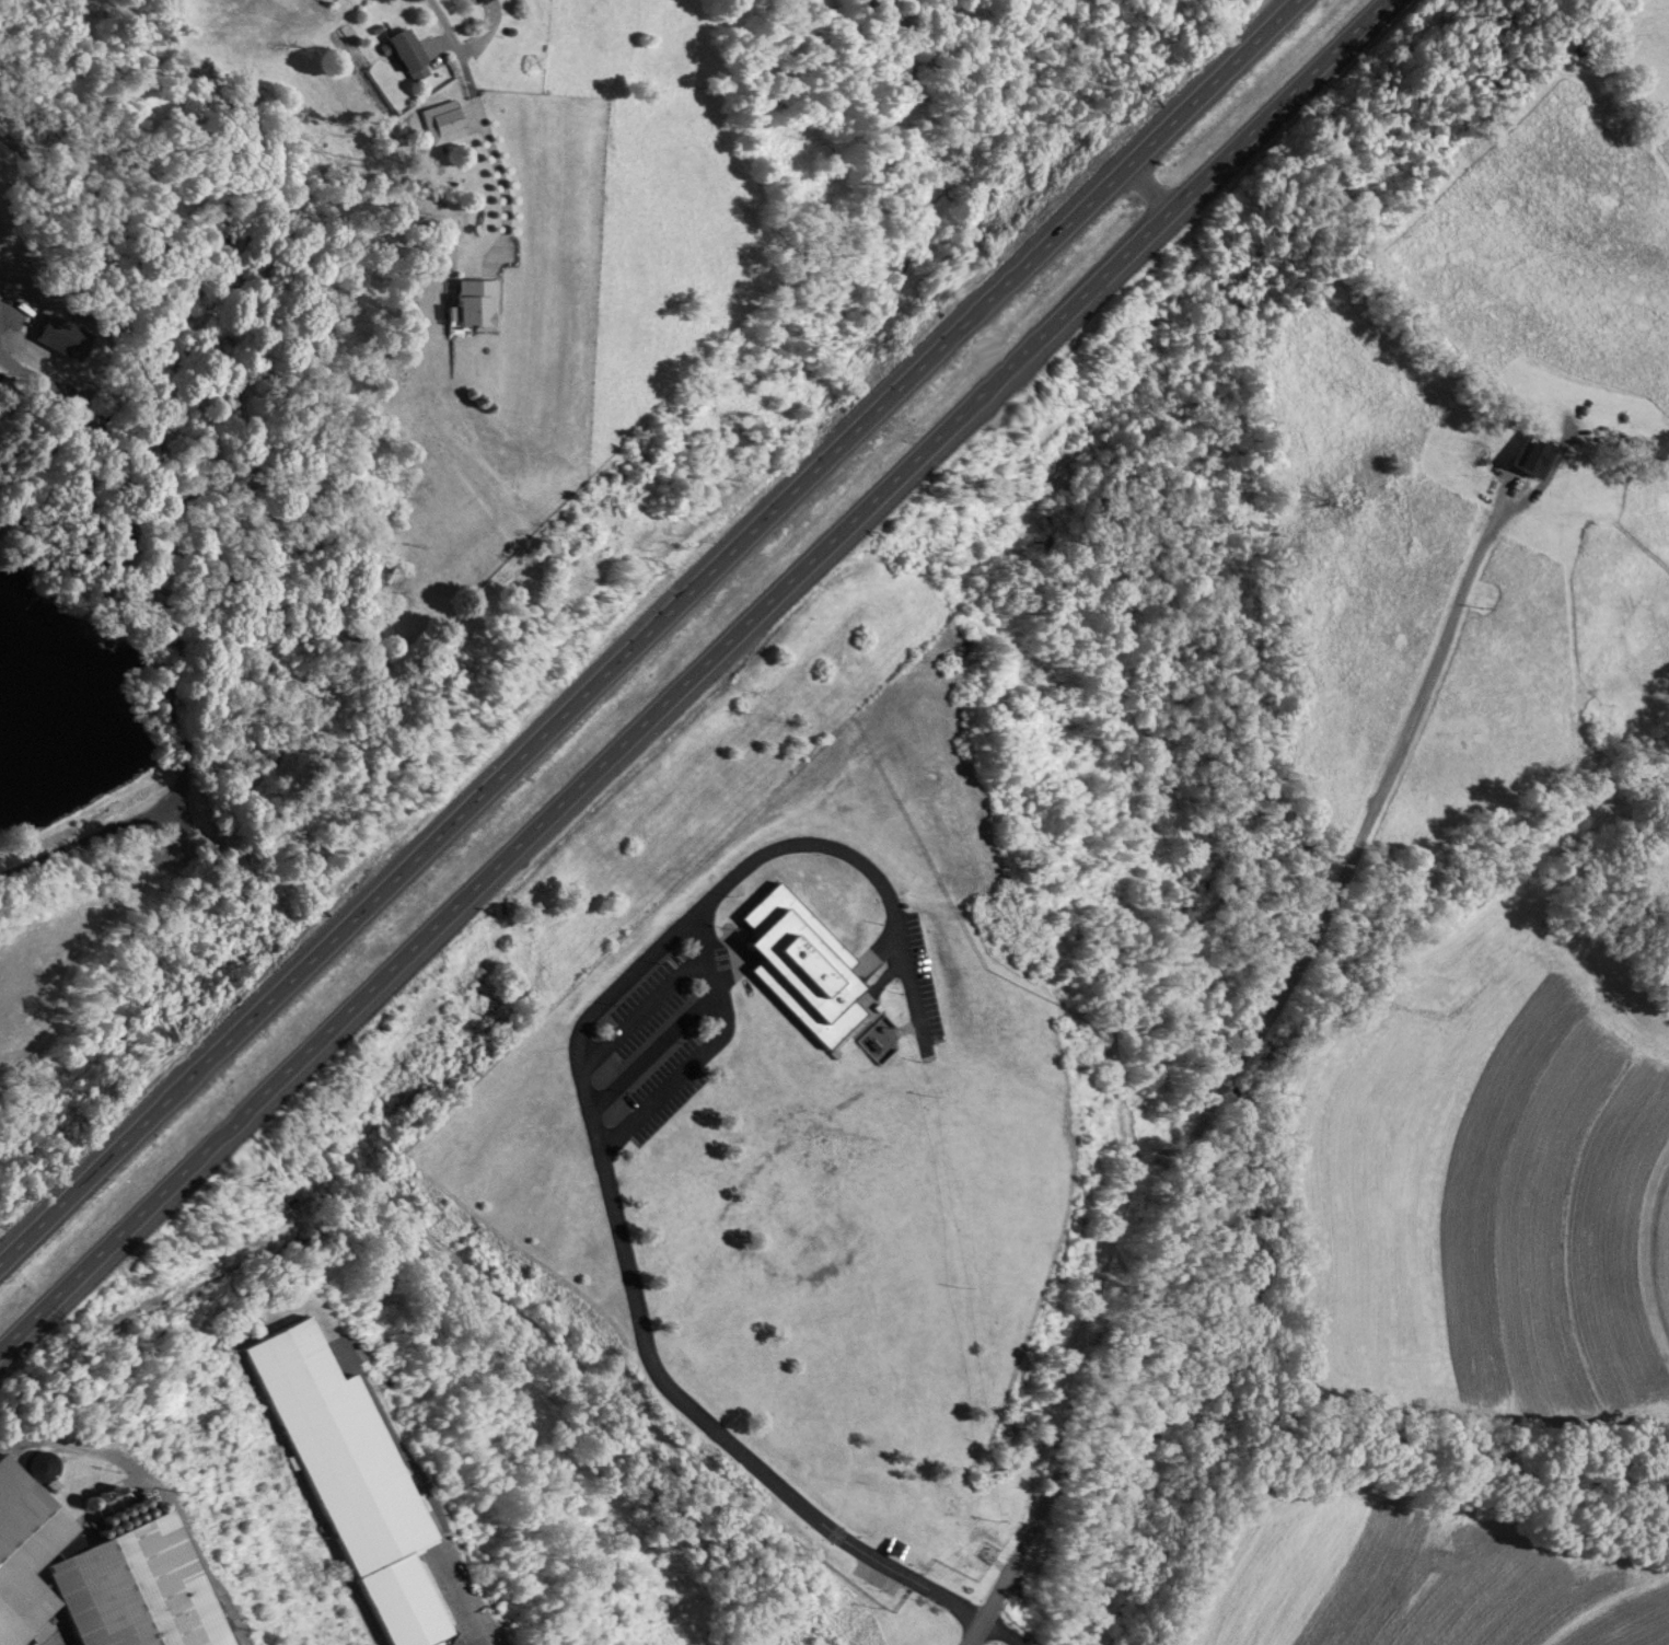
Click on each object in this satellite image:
building: (474, 0)
building: (404, 48)
building: (441, 119)
road: (476, 120)
building: (475, 303)
building: (1531, 455)
road: (175, 628)
road: (649, 632)
road: (702, 681)
building: (798, 964)
road: (1229, 1087)
road: (607, 1172)
building: (352, 1481)
building: (892, 1545)
building: (97, 1576)
road: (471, 1625)

